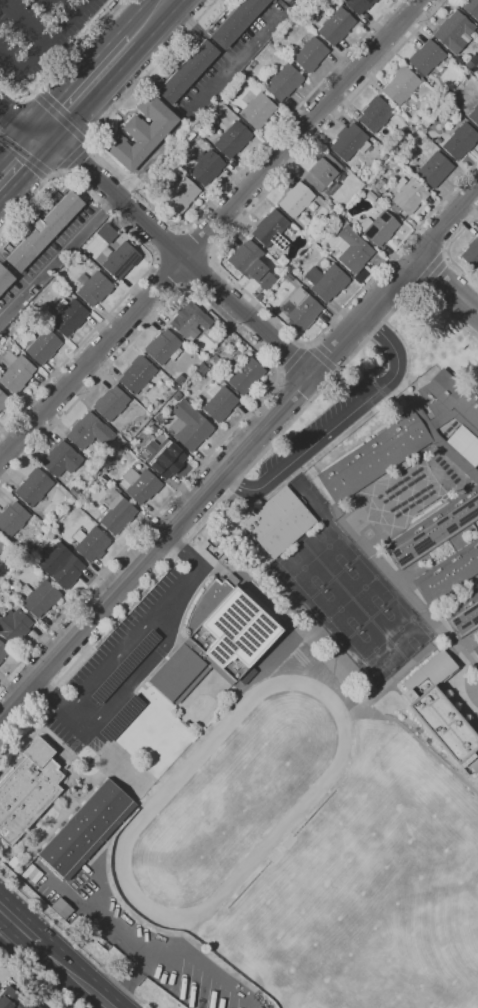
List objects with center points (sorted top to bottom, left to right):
building: (273, 0)
building: (286, 1)
road: (142, 2)
road: (290, 3)
building: (359, 5)
road: (65, 7)
building: (471, 7)
road: (135, 14)
building: (238, 21)
building: (336, 25)
road: (23, 26)
building: (455, 31)
parking lot: (34, 39)
road: (45, 47)
road: (73, 51)
building: (310, 54)
building: (427, 57)
road: (233, 62)
road: (119, 70)
building: (188, 71)
road: (76, 79)
building: (284, 83)
building: (402, 85)
road: (36, 95)
traffic signals: (53, 105)
road: (15, 107)
building: (259, 110)
building: (376, 114)
building: (474, 114)
road: (4, 118)
road: (62, 118)
road: (15, 119)
road: (177, 129)
building: (141, 133)
building: (233, 139)
building: (461, 141)
building: (350, 142)
road: (88, 143)
road: (15, 146)
road: (25, 152)
traffic signals: (71, 153)
road: (73, 155)
building: (385, 157)
building: (207, 166)
building: (431, 168)
traffic signals: (30, 169)
road: (61, 169)
road: (28, 170)
road: (51, 173)
building: (324, 173)
building: (379, 187)
building: (183, 194)
building: (409, 197)
building: (296, 199)
building: (378, 200)
building: (329, 201)
building: (332, 215)
road: (180, 227)
building: (380, 227)
building: (45, 230)
road: (209, 230)
building: (272, 230)
building: (107, 233)
road: (197, 242)
road: (168, 244)
road: (172, 248)
building: (354, 249)
road: (448, 250)
building: (81, 253)
road: (445, 253)
building: (472, 253)
road: (59, 257)
building: (245, 257)
building: (122, 260)
road: (151, 266)
road: (430, 268)
road: (224, 270)
road: (198, 272)
road: (15, 273)
road: (167, 274)
building: (5, 278)
building: (328, 281)
road: (447, 285)
road: (417, 287)
building: (94, 288)
building: (301, 308)
building: (69, 316)
building: (190, 320)
building: (44, 346)
building: (164, 347)
road: (322, 358)
road: (292, 359)
building: (202, 369)
building: (16, 370)
building: (138, 375)
building: (245, 375)
road: (275, 382)
building: (177, 395)
building: (4, 400)
building: (112, 403)
building: (221, 404)
building: (130, 405)
parking lot: (323, 417)
building: (161, 418)
road: (341, 420)
building: (189, 425)
building: (153, 428)
building: (90, 431)
building: (465, 444)
road: (239, 456)
building: (377, 456)
building: (165, 457)
building: (62, 459)
building: (141, 485)
building: (35, 487)
road: (234, 487)
building: (117, 512)
building: (13, 518)
building: (47, 521)
building: (278, 521)
building: (56, 529)
building: (92, 543)
building: (2, 545)
park: (330, 547)
building: (61, 565)
park: (306, 569)
building: (449, 573)
building: (11, 585)
park: (365, 586)
building: (40, 597)
park: (340, 608)
building: (464, 616)
building: (14, 626)
park: (401, 627)
building: (218, 640)
road: (126, 646)
park: (376, 648)
building: (476, 650)
building: (3, 651)
road: (146, 663)
parking lot: (121, 666)
building: (246, 675)
building: (440, 712)
road: (2, 717)
building: (28, 790)
track: (160, 798)
building: (88, 829)
building: (14, 862)
building: (60, 908)
road: (3, 910)
road: (21, 918)
road: (75, 939)
road: (165, 956)
road: (81, 972)
road: (35, 975)
road: (129, 976)
building: (13, 999)

